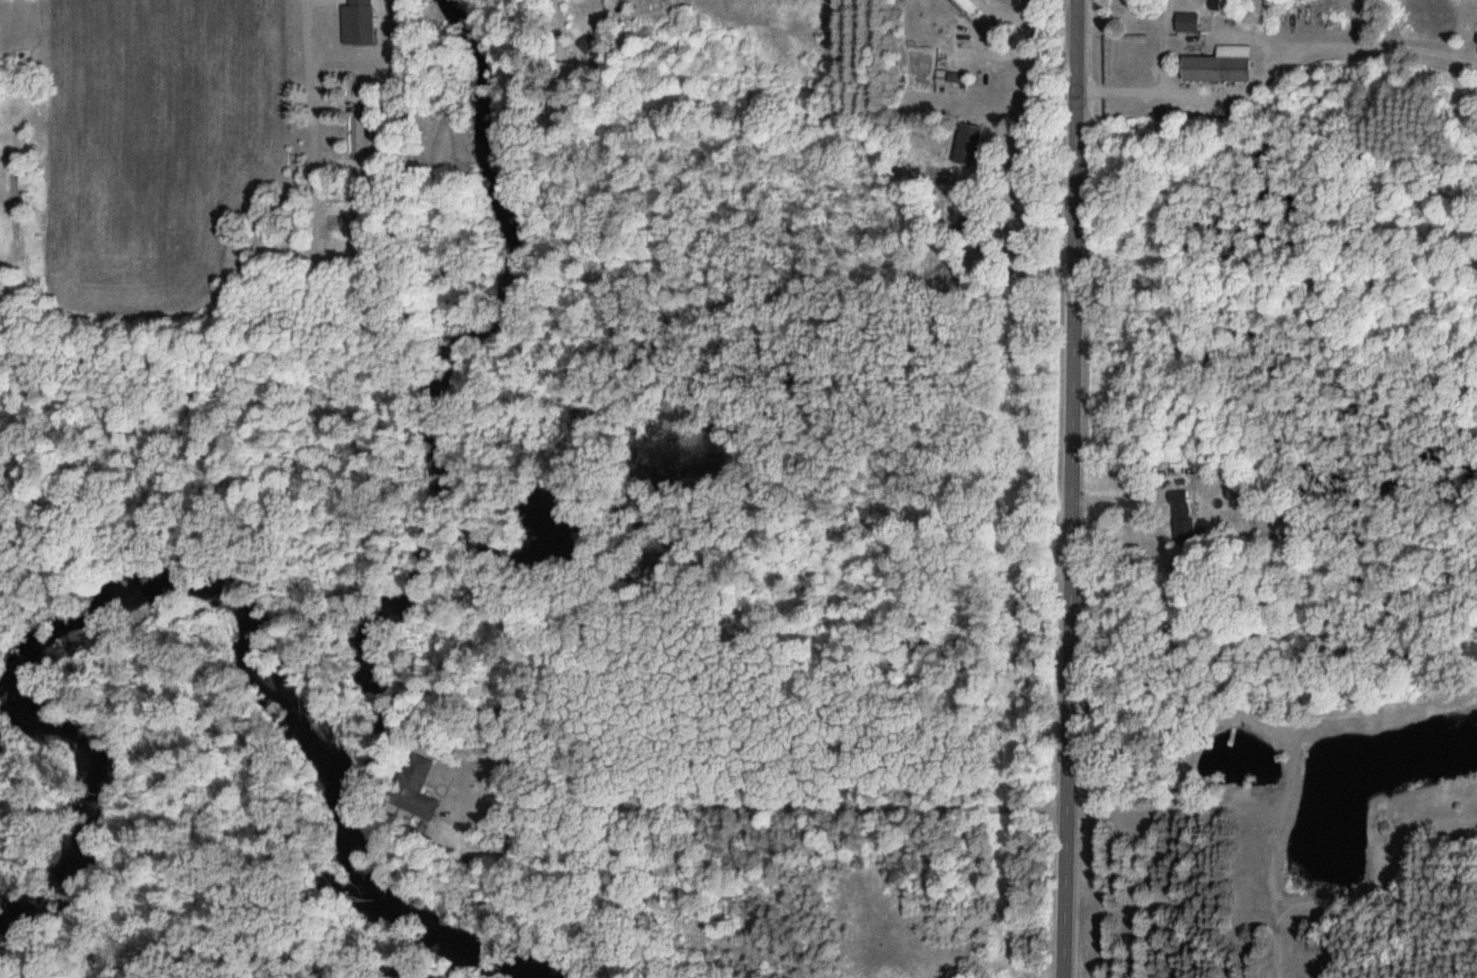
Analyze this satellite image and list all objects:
building: (970, 6)
building: (359, 11)
building: (1187, 22)
road: (1023, 46)
building: (1220, 65)
building: (957, 78)
building: (362, 139)
building: (968, 146)
river: (442, 389)
road: (1068, 489)
building: (1182, 514)
river: (221, 594)
building: (414, 787)
road: (505, 806)
road: (824, 806)
road: (455, 812)

